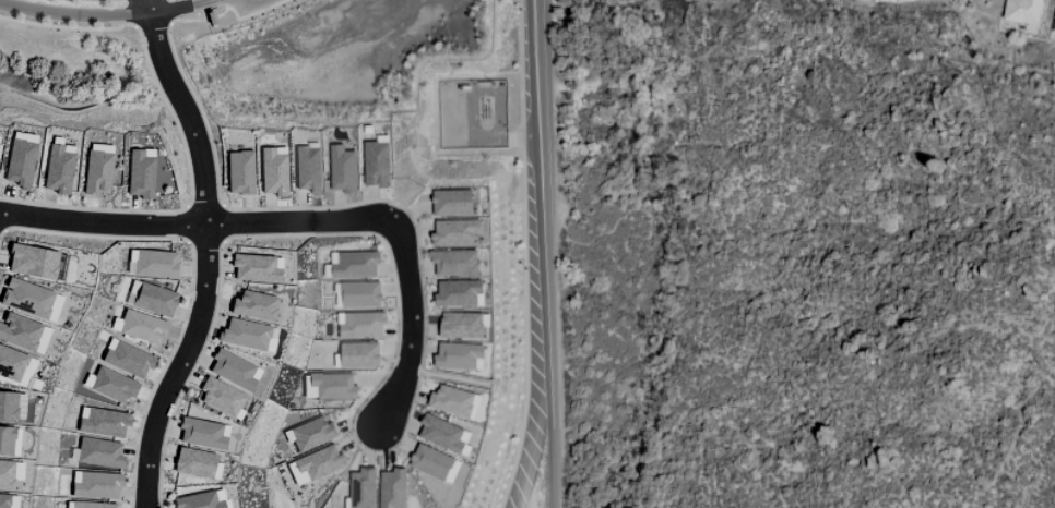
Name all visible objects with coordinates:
road: (209, 1)
road: (247, 5)
building: (1022, 11)
road: (103, 15)
building: (1054, 27)
power substation: (474, 113)
building: (19, 162)
building: (376, 162)
building: (57, 169)
building: (308, 169)
building: (343, 169)
building: (95, 171)
building: (272, 171)
building: (238, 172)
building: (139, 173)
building: (451, 202)
road: (199, 227)
building: (454, 232)
road: (204, 253)
road: (548, 253)
building: (31, 262)
building: (454, 262)
building: (152, 263)
building: (354, 264)
building: (253, 268)
building: (459, 292)
building: (360, 293)
building: (25, 298)
building: (152, 299)
building: (253, 305)
building: (52, 307)
building: (361, 324)
building: (141, 327)
road: (412, 327)
building: (23, 334)
building: (242, 334)
building: (458, 354)
building: (361, 355)
building: (126, 359)
building: (10, 363)
building: (233, 370)
building: (25, 372)
building: (110, 385)
building: (329, 386)
building: (220, 397)
building: (451, 400)
building: (7, 406)
building: (19, 407)
building: (102, 422)
building: (442, 433)
building: (202, 434)
building: (310, 434)
building: (5, 440)
building: (99, 452)
building: (430, 461)
building: (193, 462)
building: (316, 464)
building: (452, 471)
building: (5, 475)
building: (95, 485)
building: (361, 487)
building: (8, 500)
building: (92, 505)

